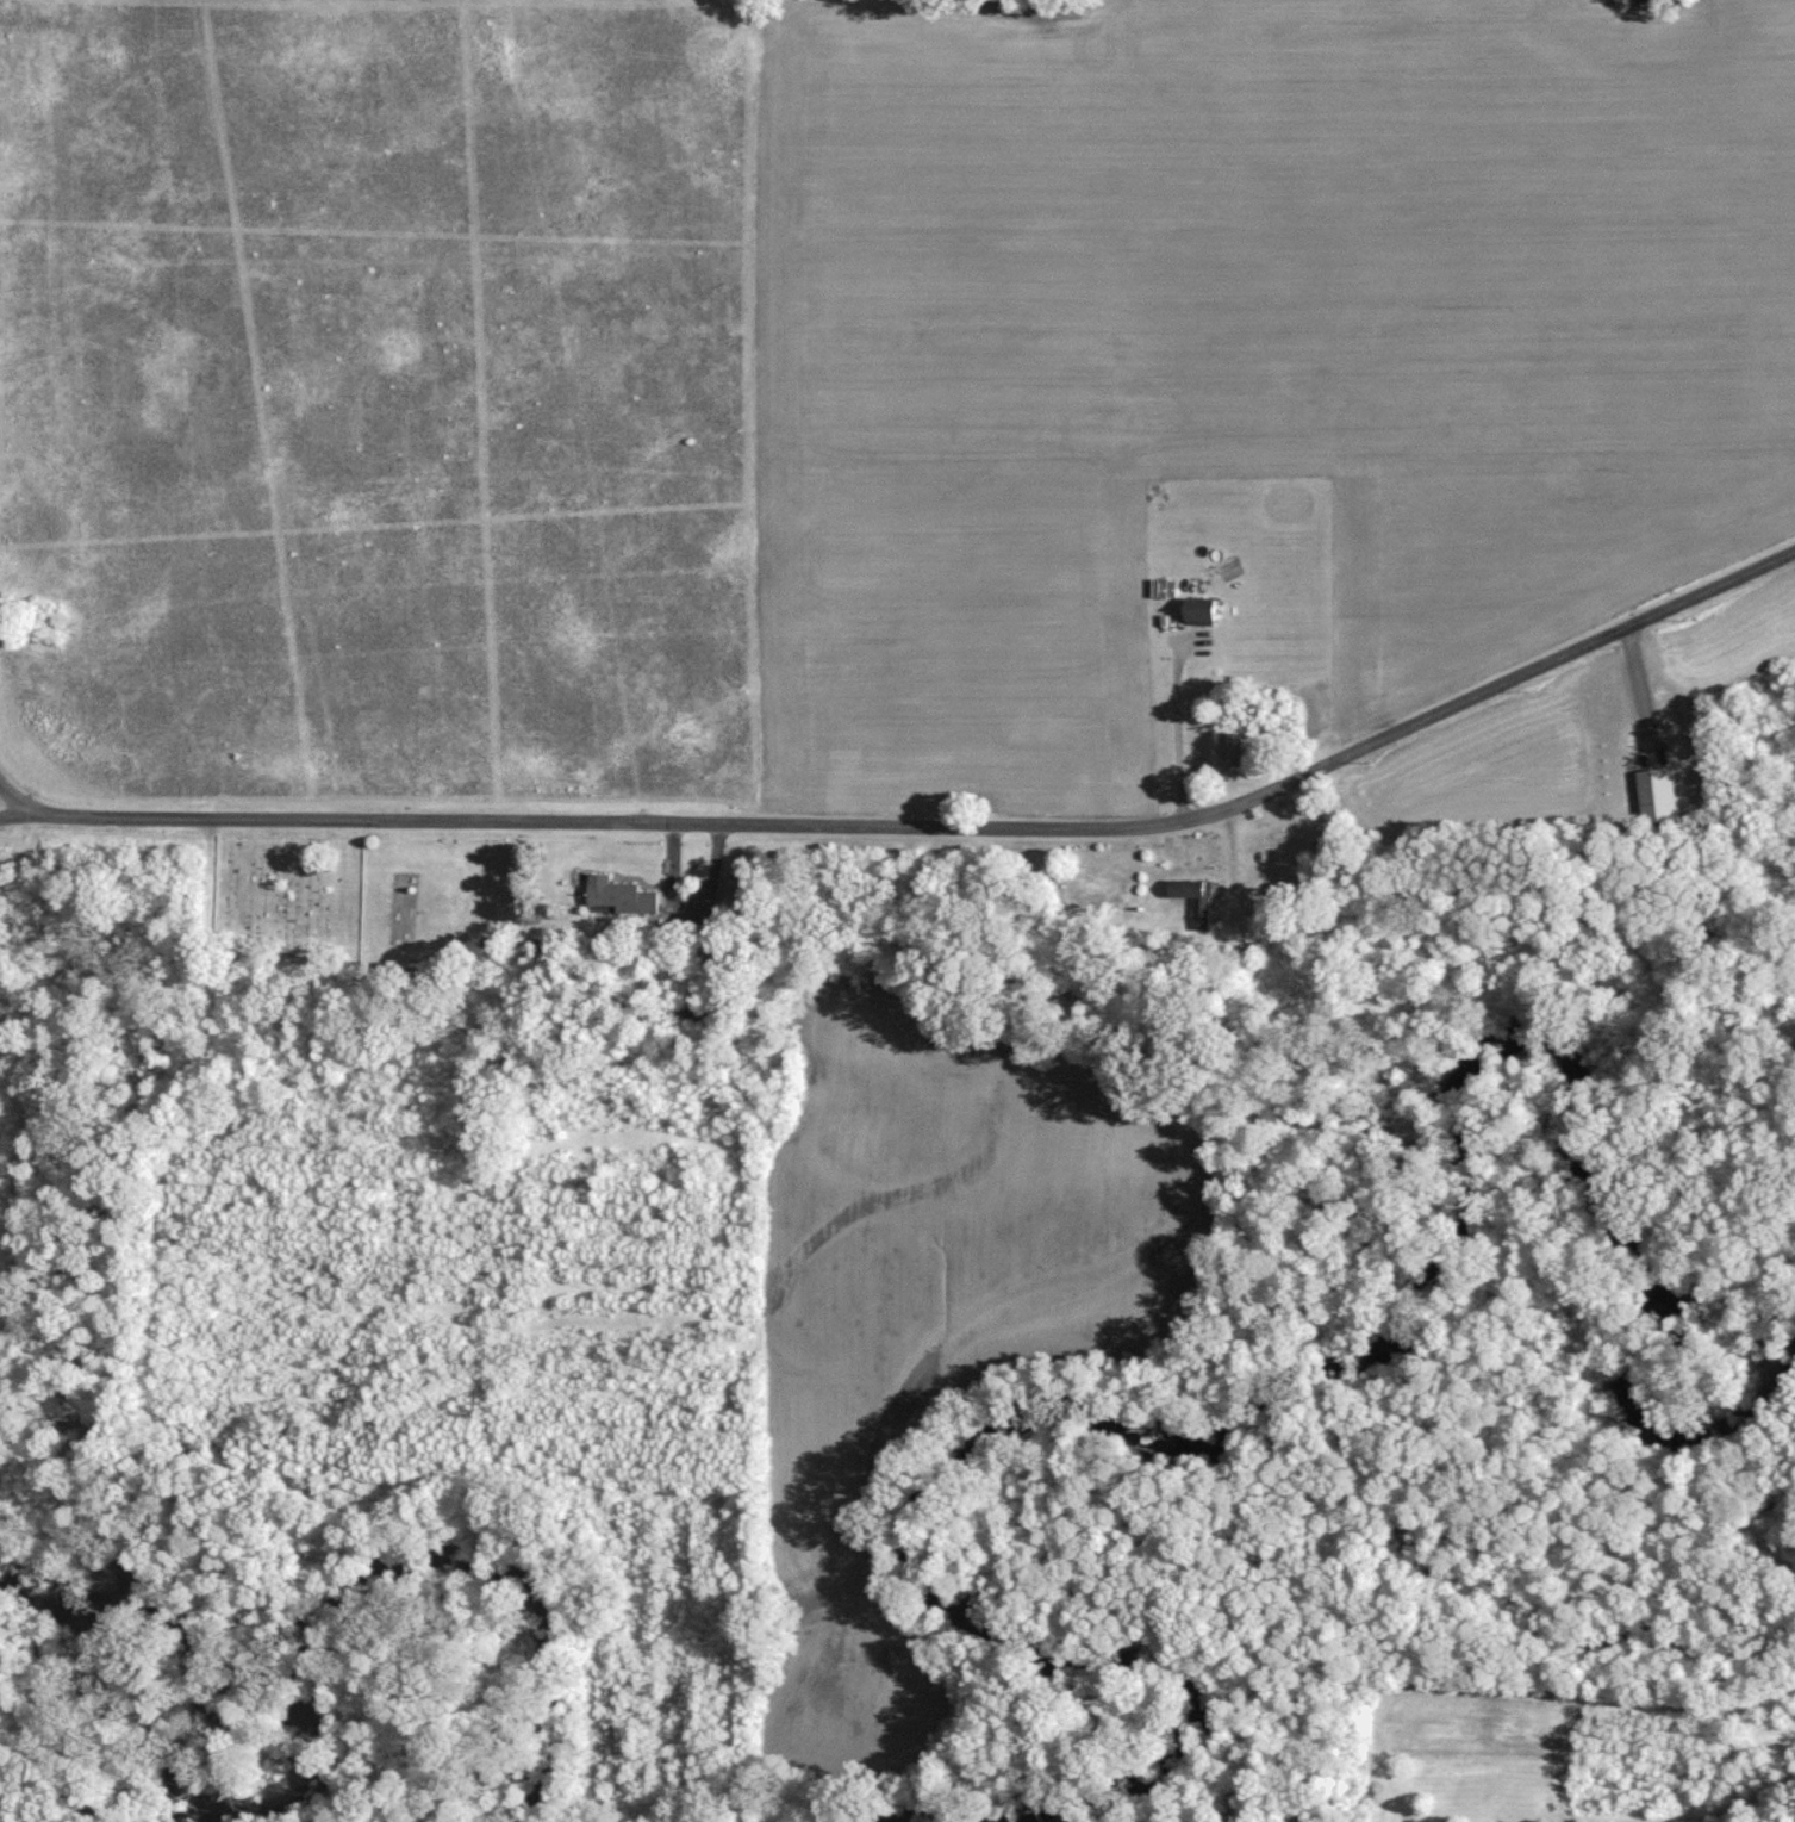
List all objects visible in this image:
crop: (1244, 337)
road: (10, 798)
road: (924, 827)

